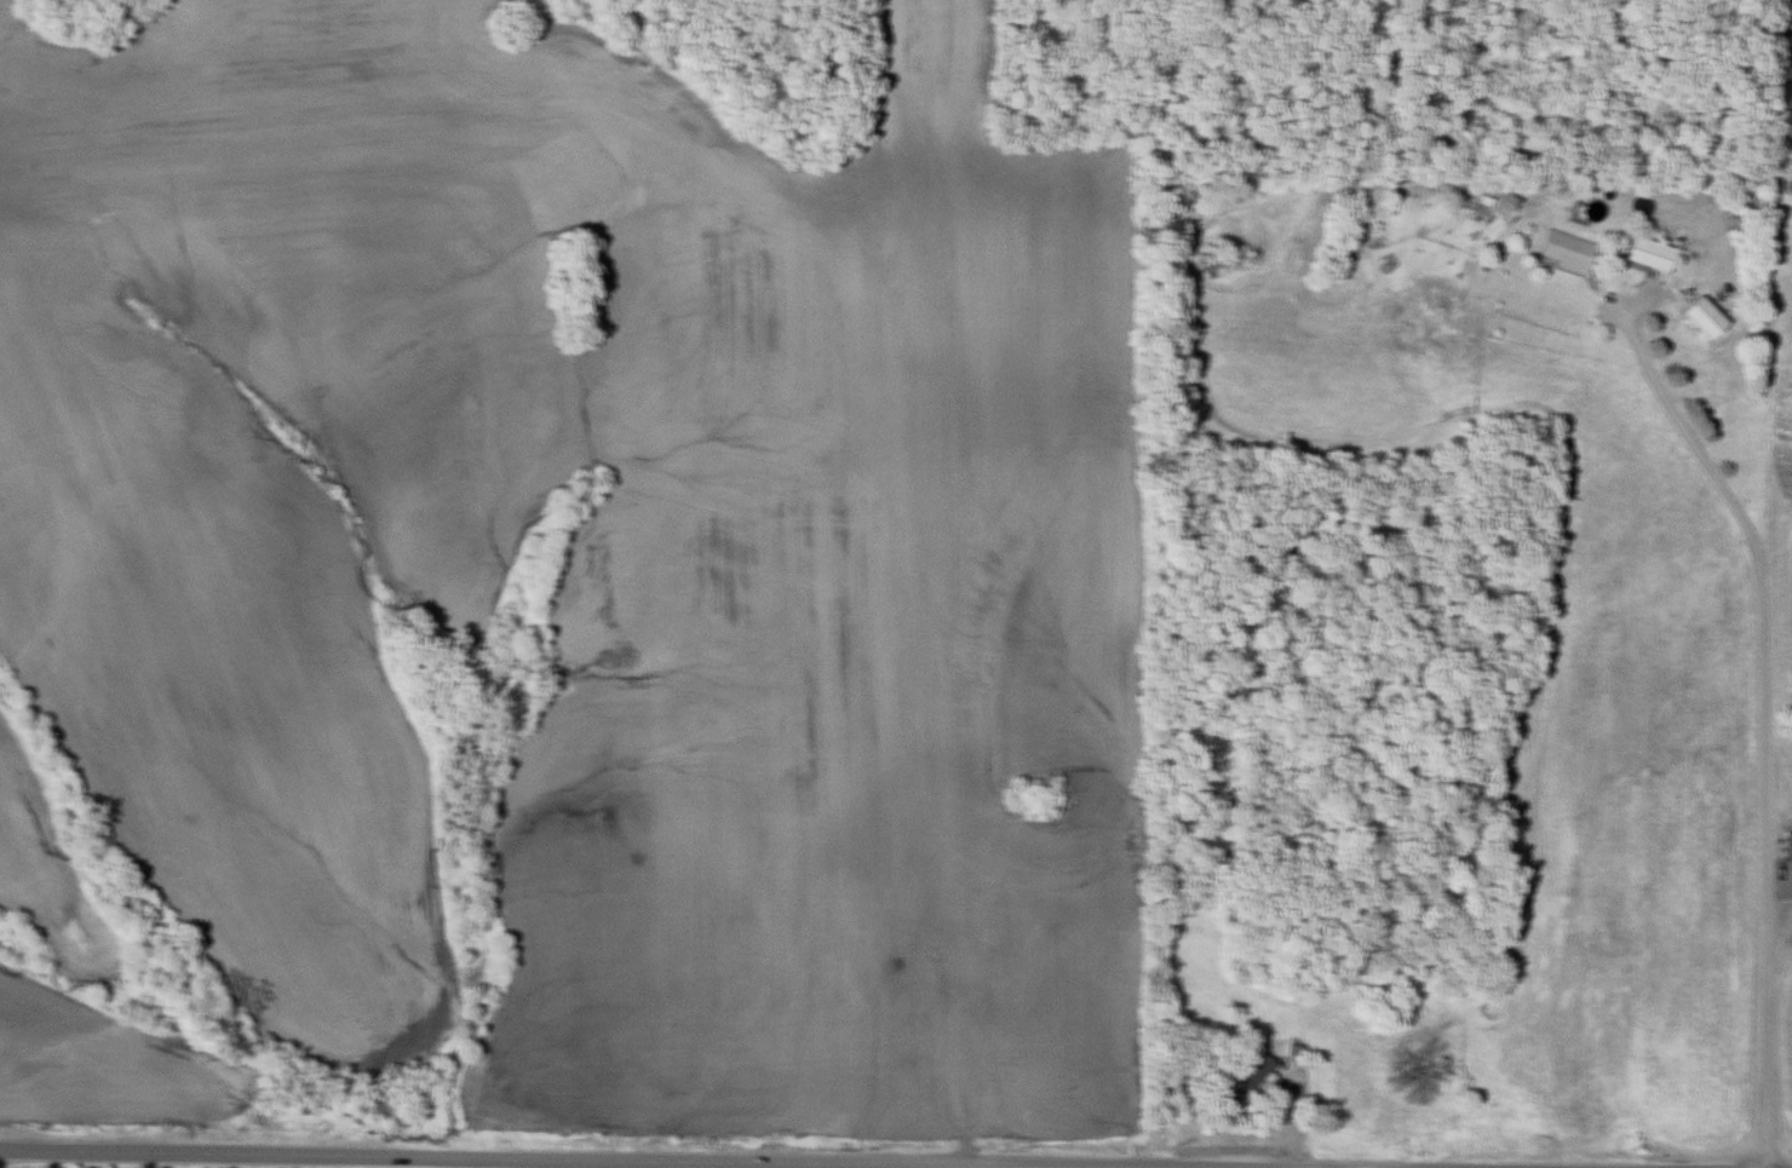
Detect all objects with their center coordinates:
building: (1562, 253)
building: (1643, 258)
building: (1698, 321)
road: (1765, 726)
building: (1290, 1055)
building: (1245, 1083)
road: (483, 1157)

